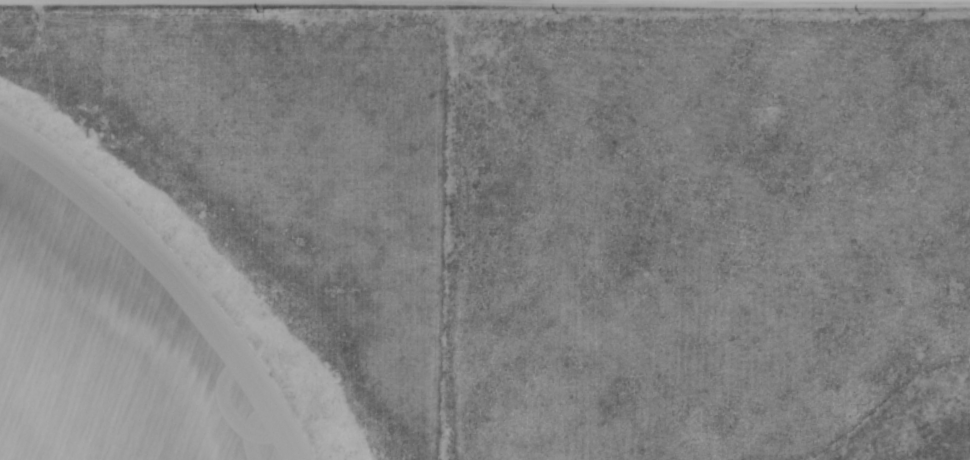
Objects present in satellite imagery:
road: (780, 1)

